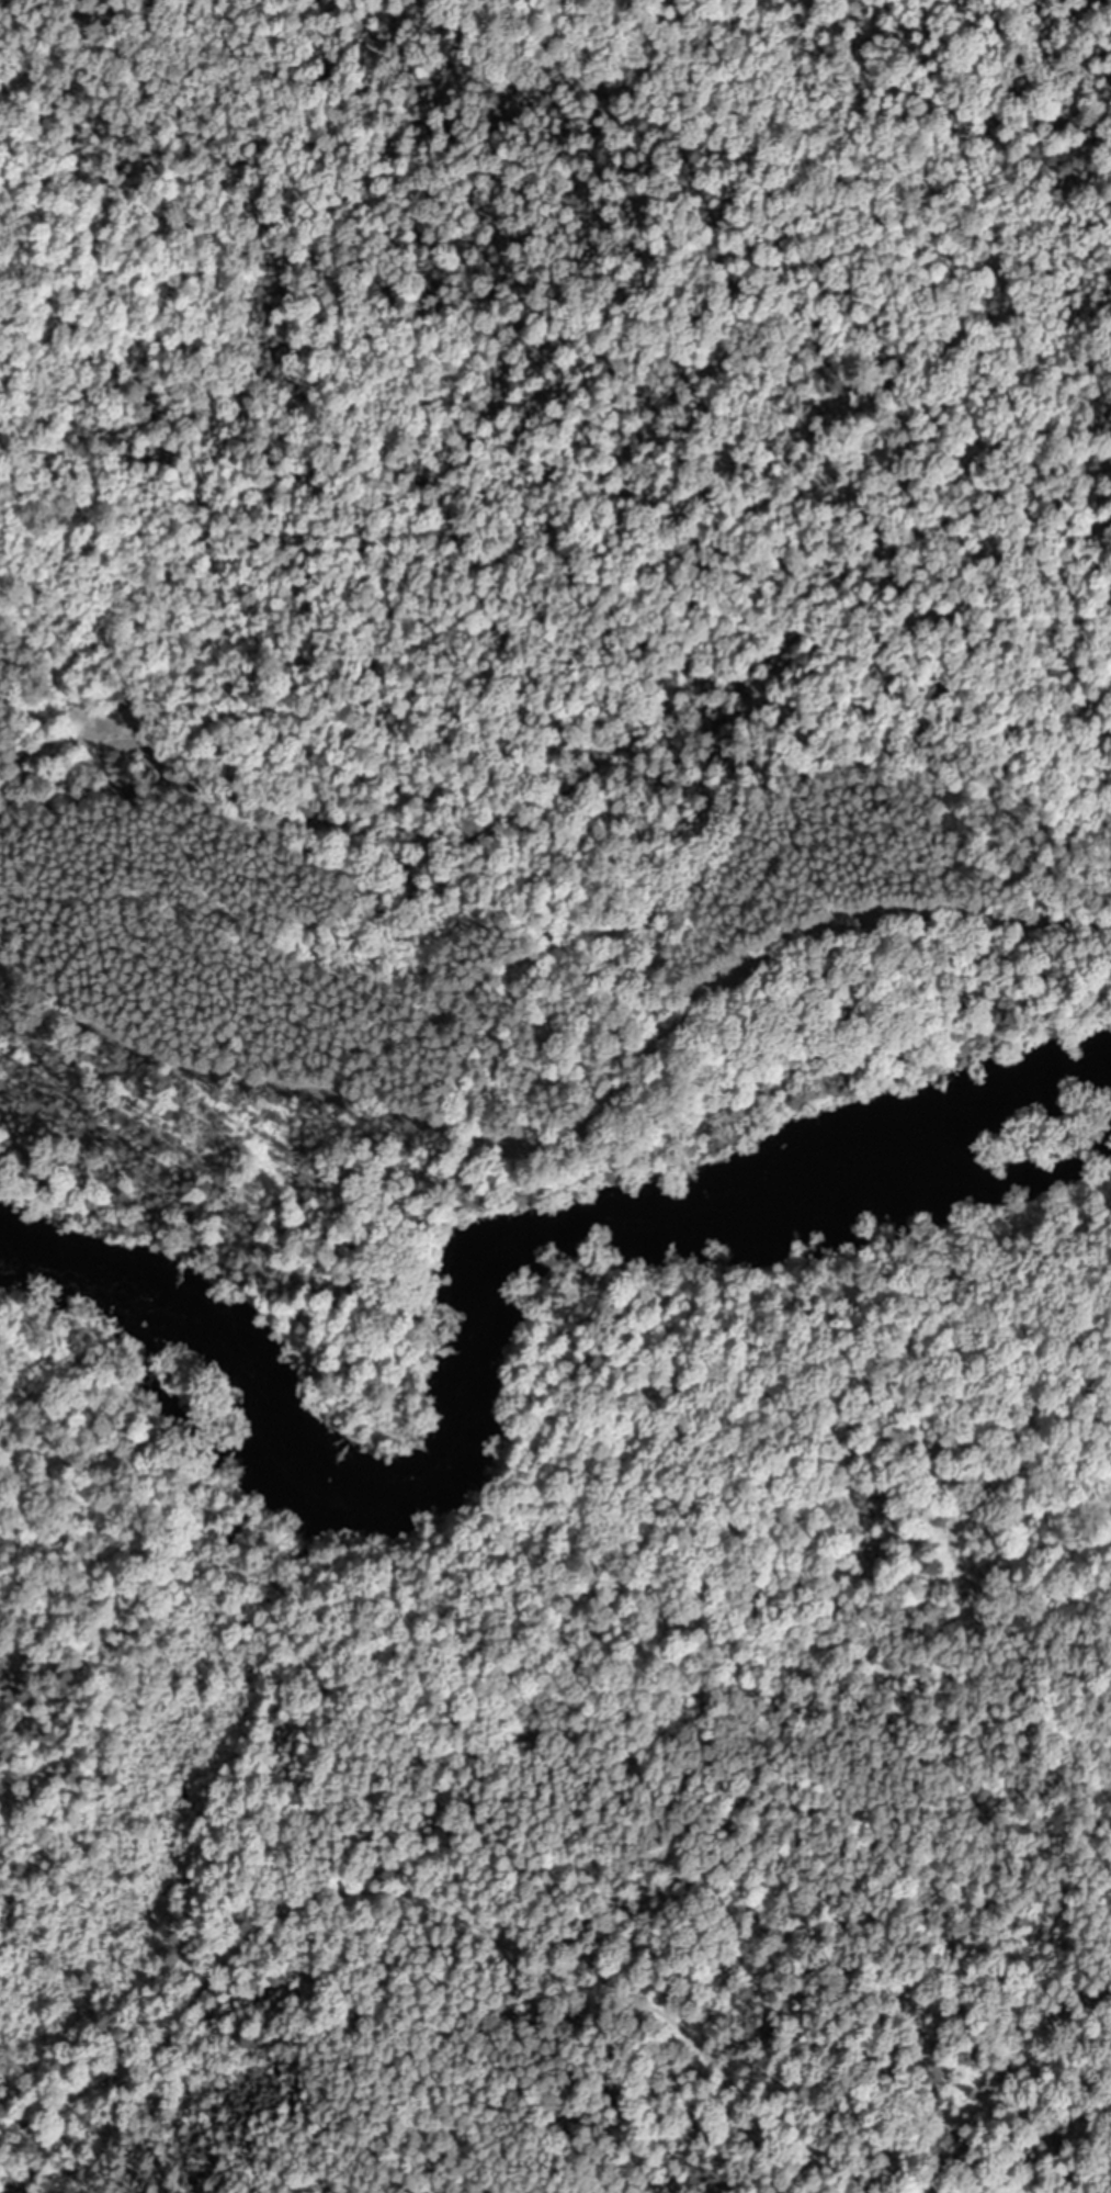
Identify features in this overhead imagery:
park: (552, 513)
road: (568, 1121)
river: (484, 1331)
road: (844, 2181)

